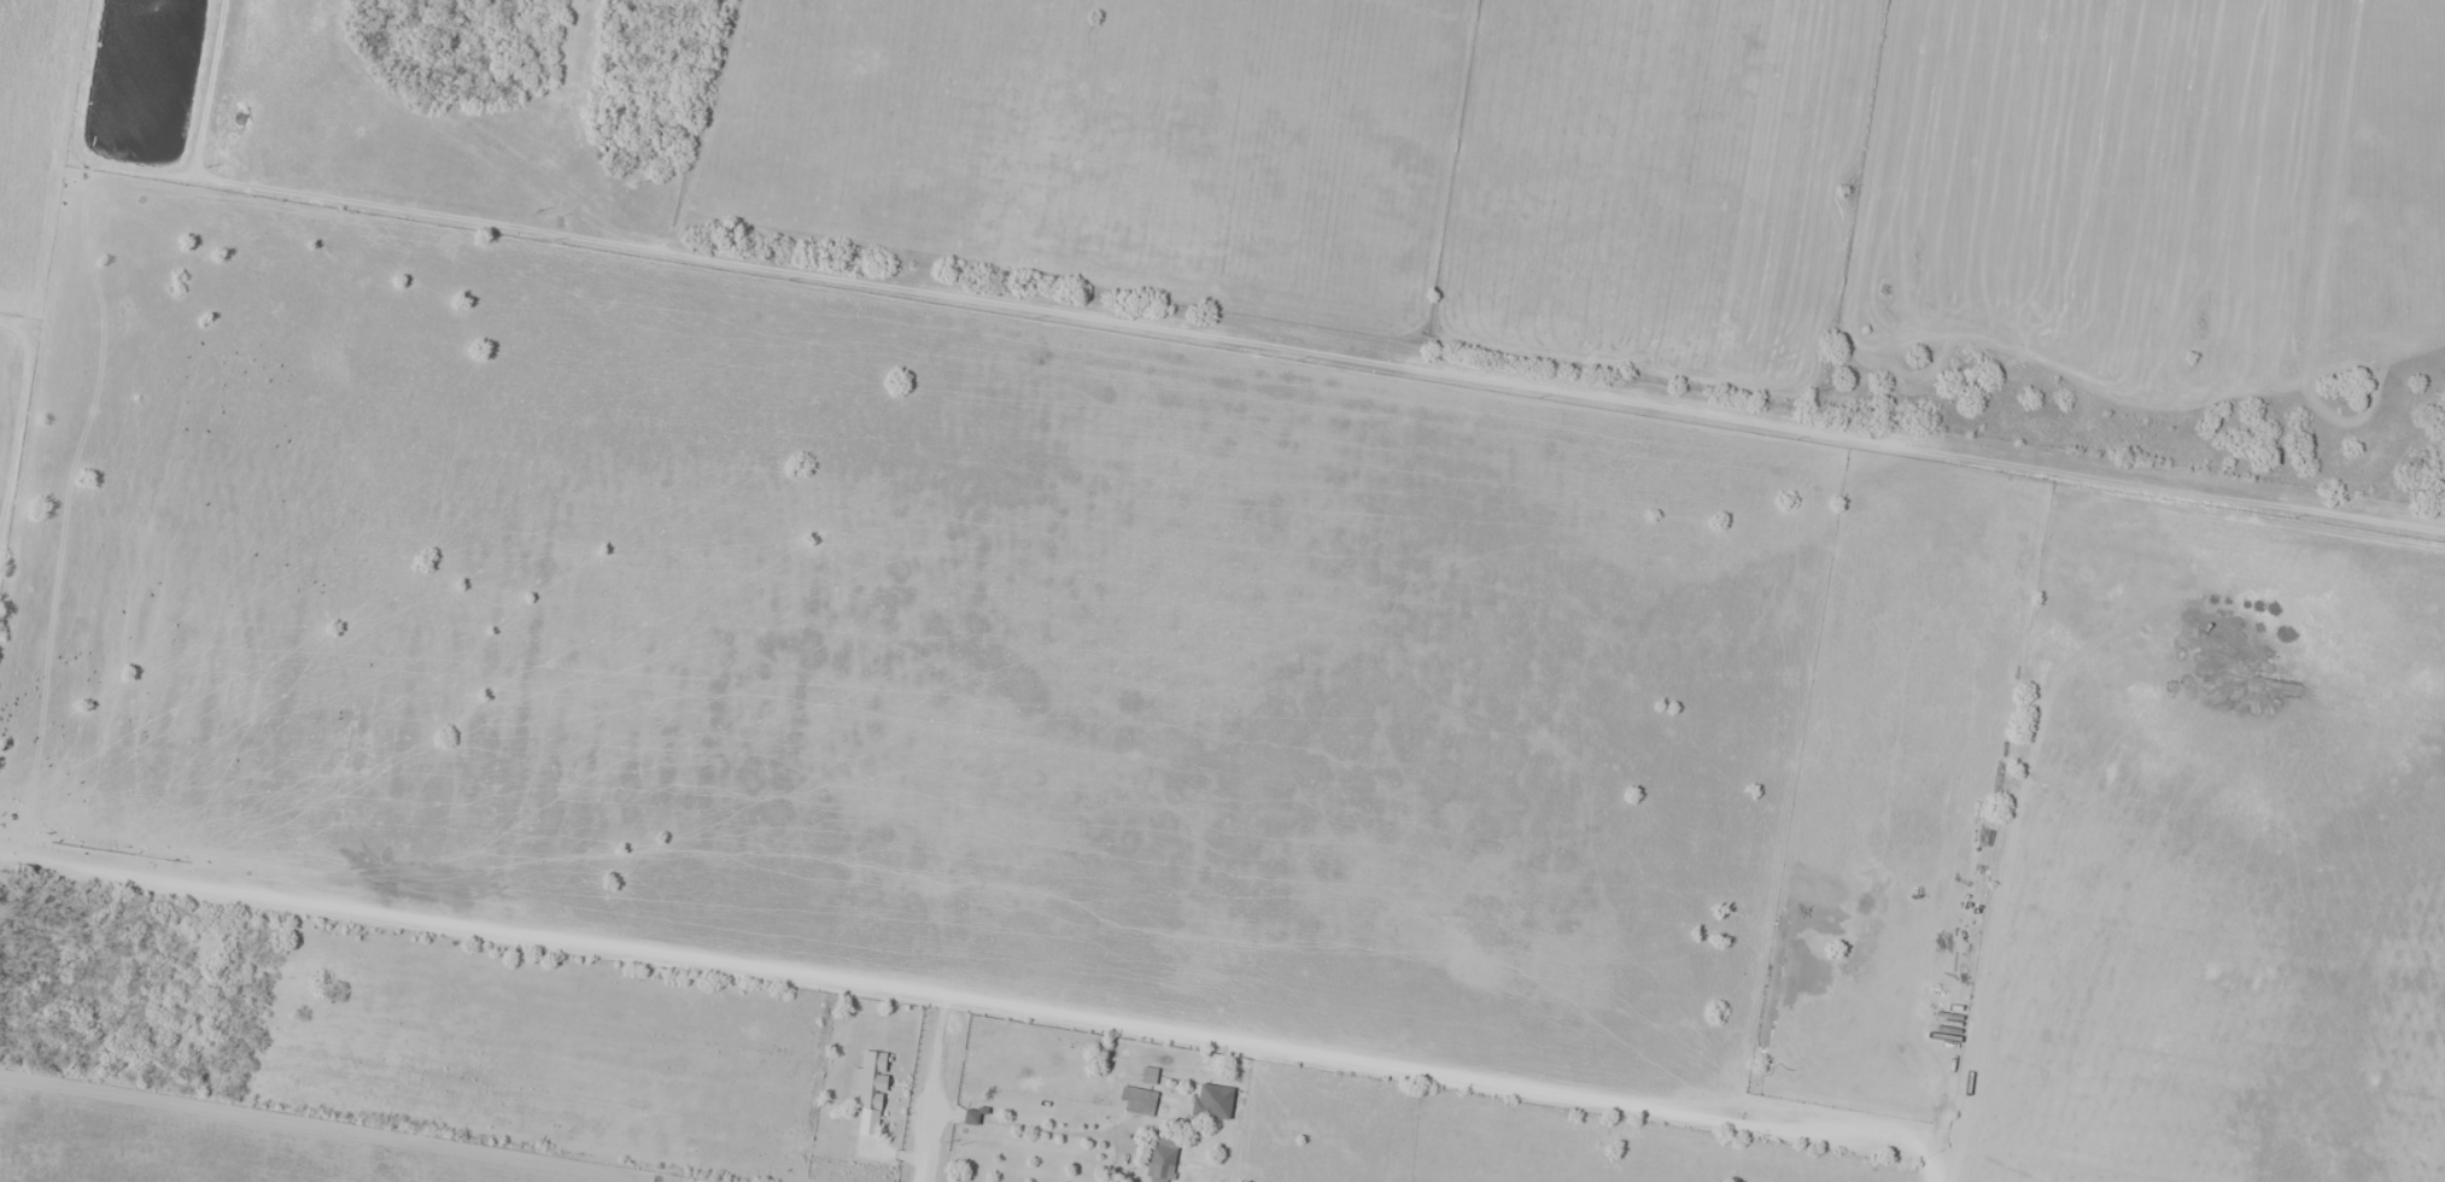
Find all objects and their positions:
road: (311, 49)
wastewater plant: (147, 75)
airport: (1659, 175)
road: (1343, 356)
road: (932, 997)
road: (935, 1054)
building: (871, 1089)
building: (1139, 1100)
building: (1213, 1100)
road: (928, 1146)
building: (1163, 1159)

